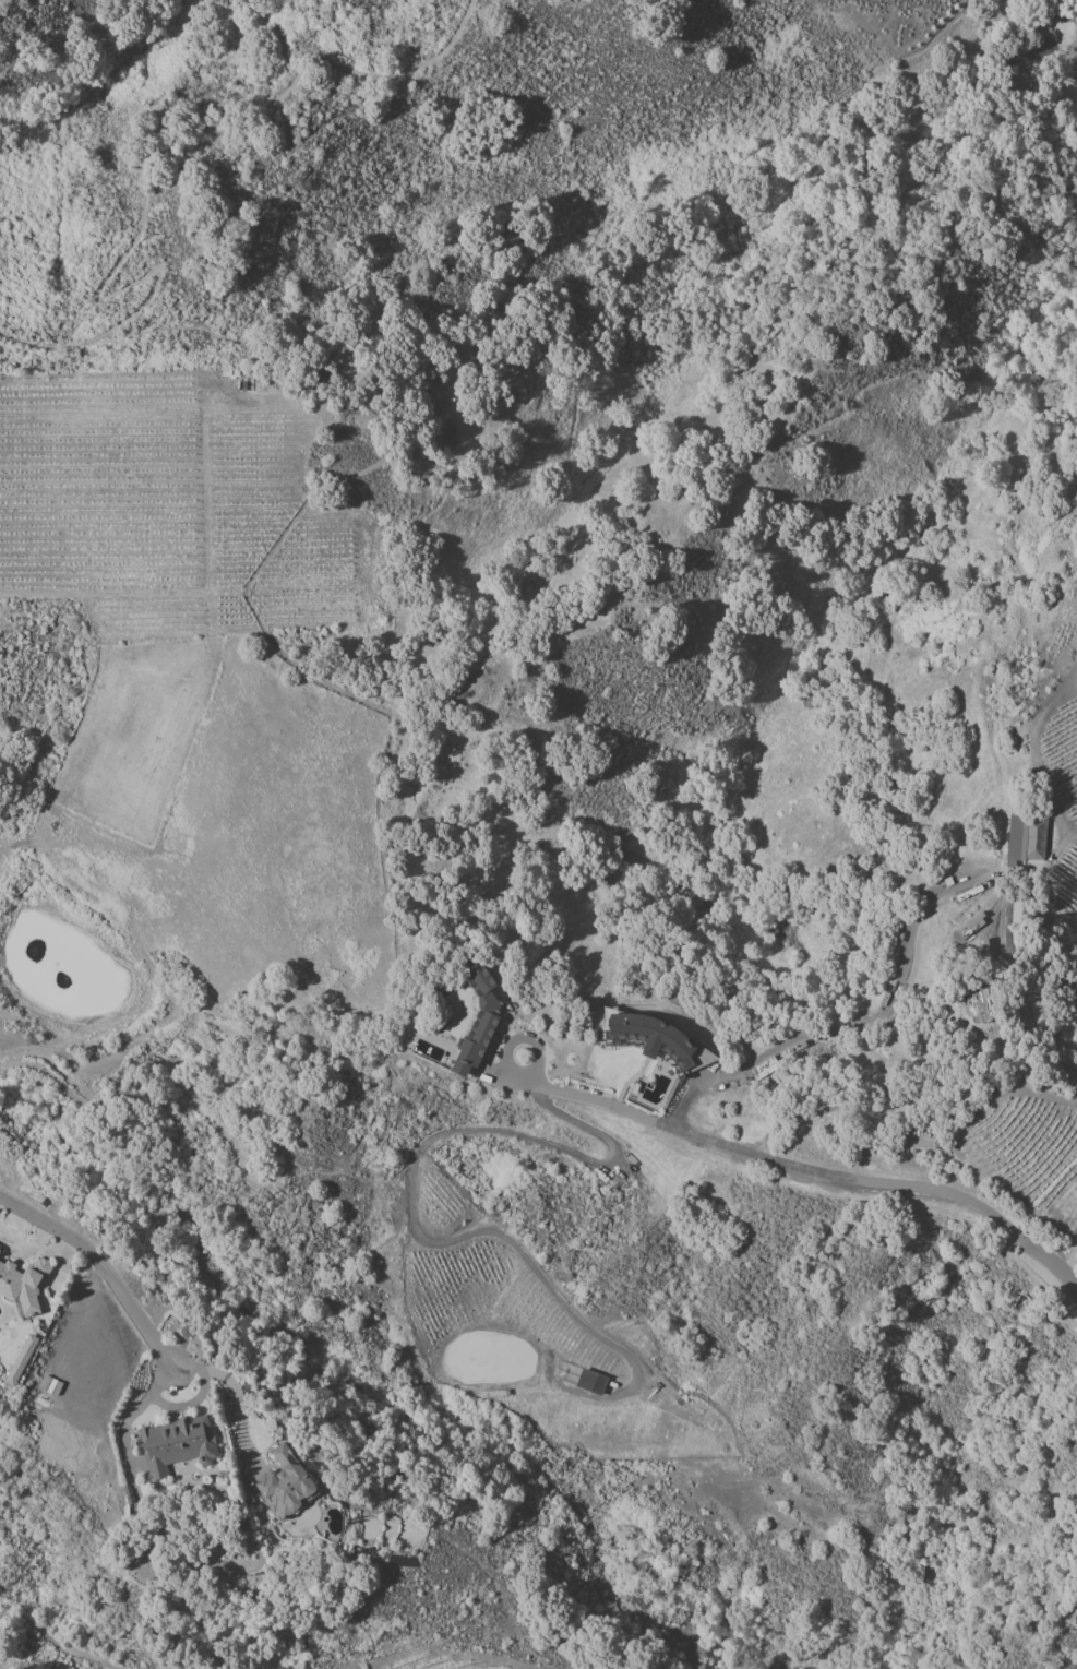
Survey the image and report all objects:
road: (151, 168)
road: (378, 835)
building: (1015, 839)
building: (979, 1004)
building: (477, 1024)
road: (847, 1024)
road: (804, 1166)
building: (0, 1250)
road: (34, 1251)
road: (1069, 1257)
road: (106, 1267)
building: (23, 1281)
building: (20, 1361)
building: (590, 1382)
road: (226, 1384)
building: (175, 1440)
building: (286, 1483)
building: (1075, 1622)
road: (55, 1646)

